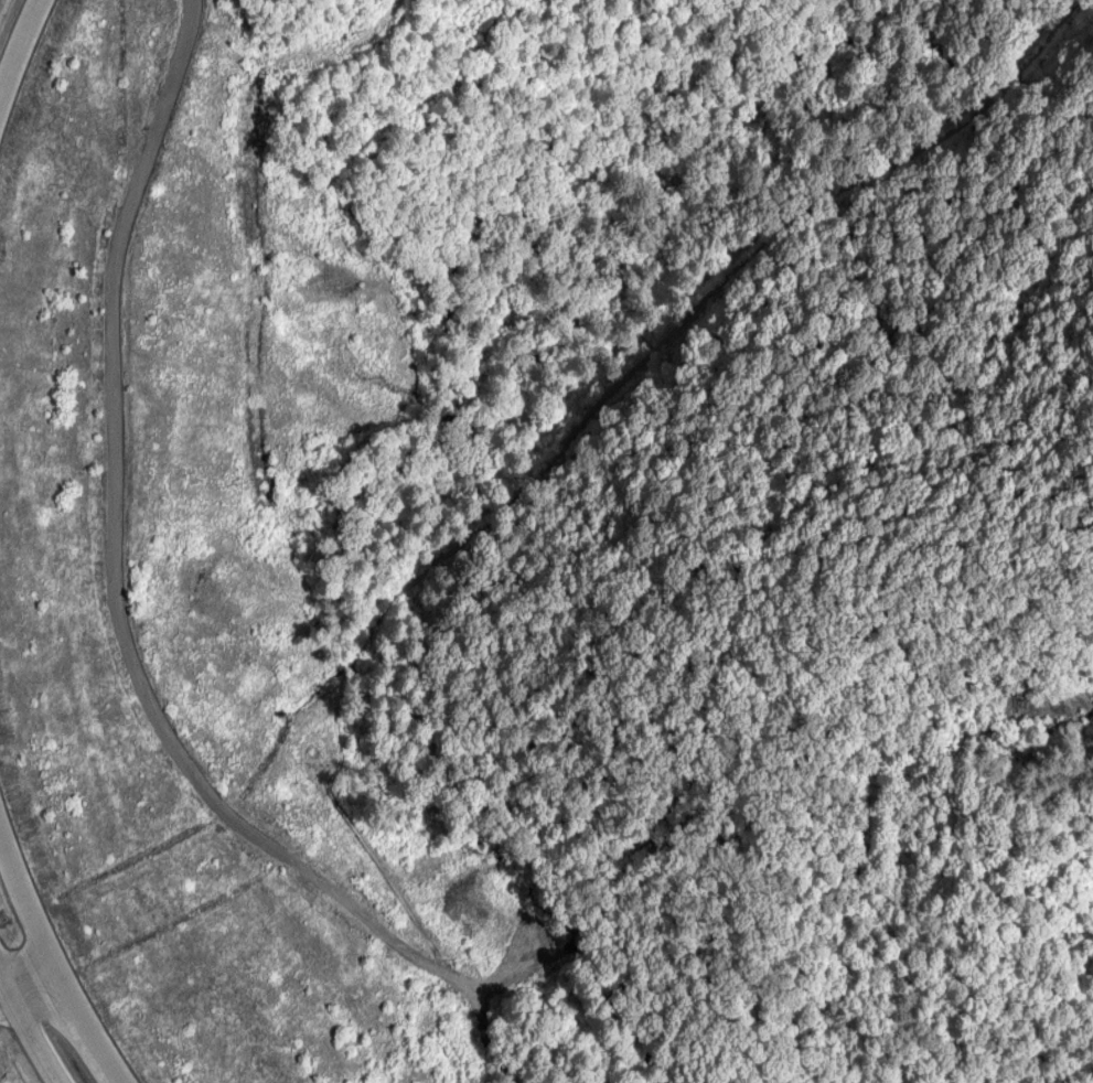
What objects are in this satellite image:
road: (22, 52)
road: (47, 965)
road: (25, 1031)

